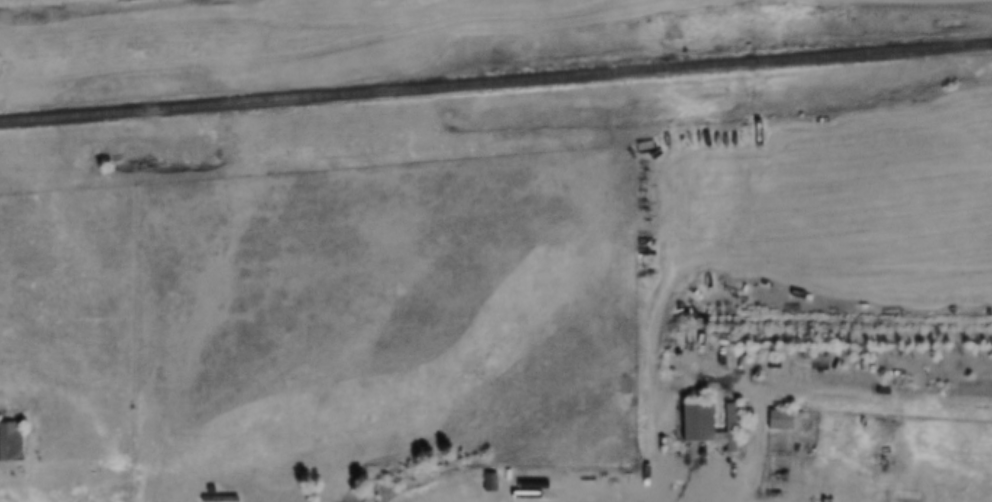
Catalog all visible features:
road: (989, 0)
railway: (496, 81)
building: (776, 421)
building: (709, 425)
building: (9, 442)
road: (669, 448)
building: (487, 483)
building: (217, 499)

